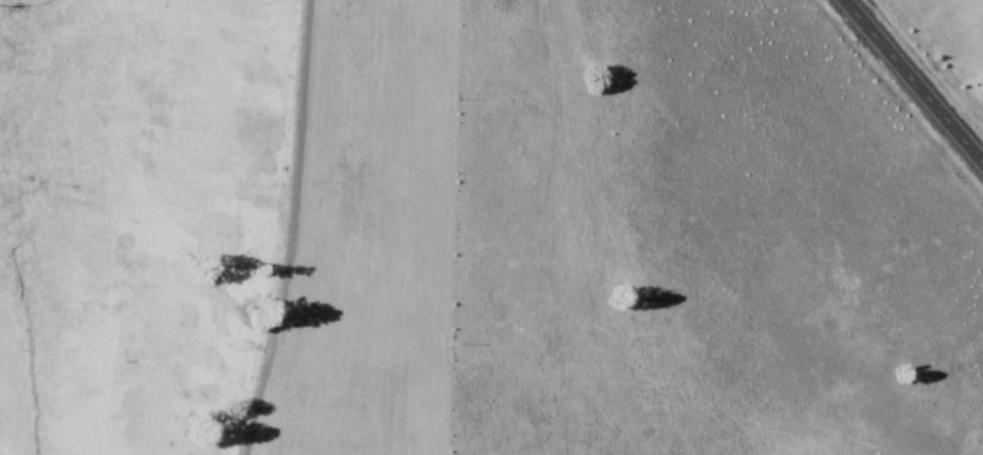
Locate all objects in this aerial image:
road: (911, 84)

